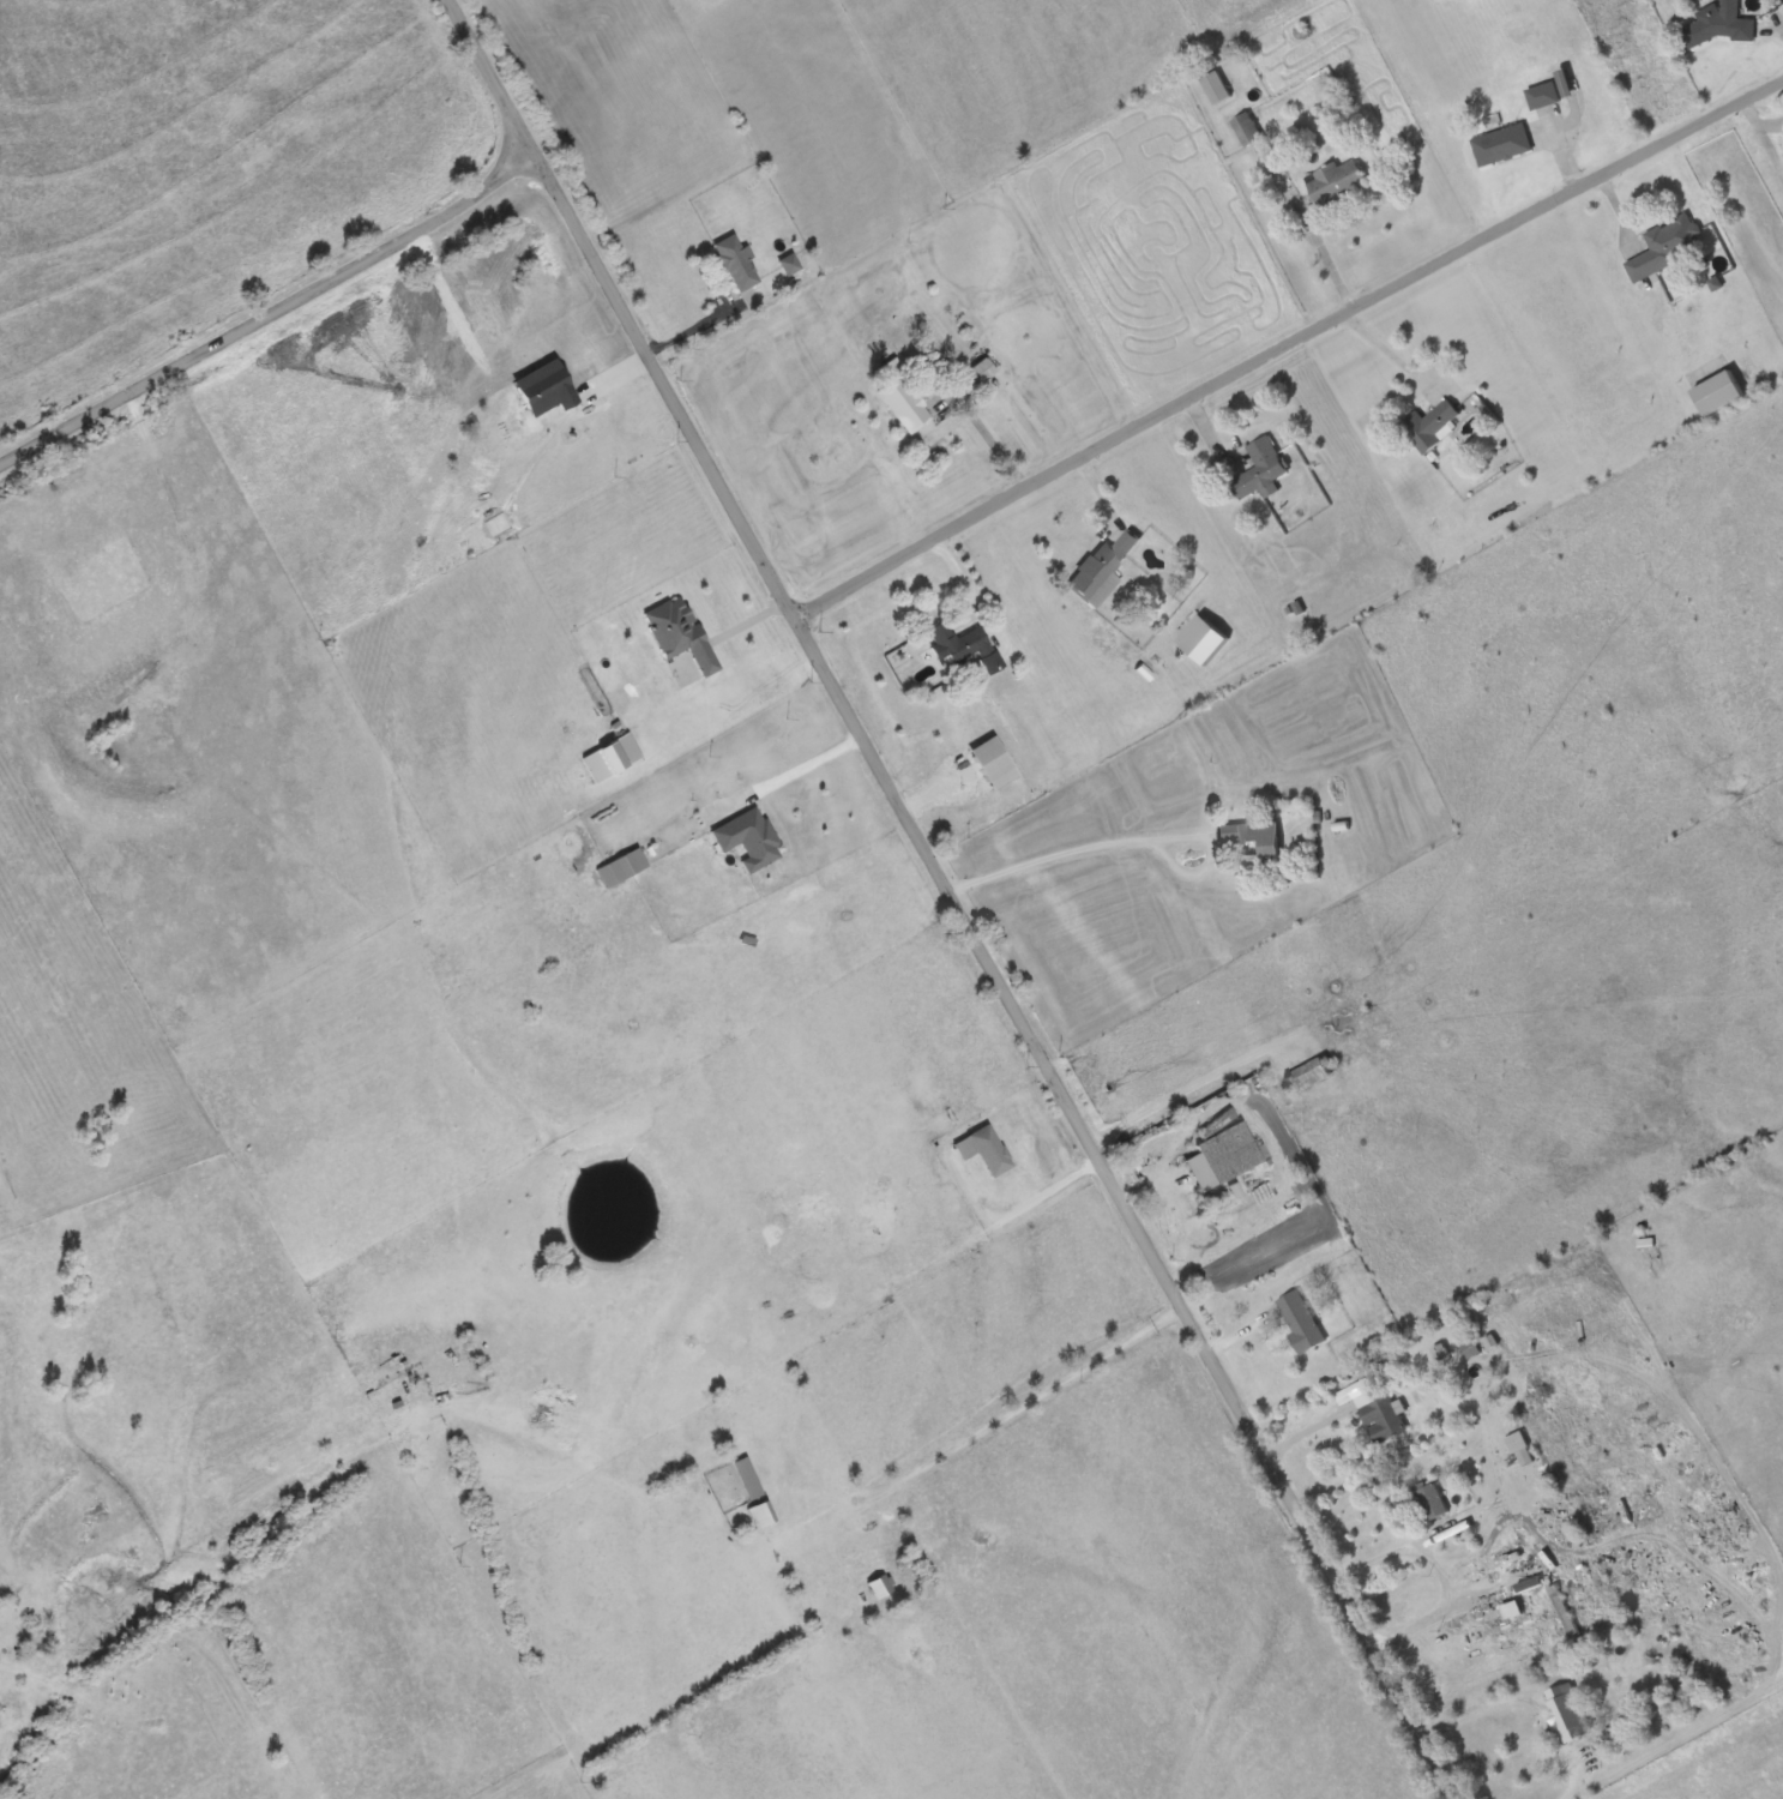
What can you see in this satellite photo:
building: (1717, 23)
building: (1216, 89)
building: (1543, 96)
building: (1247, 131)
building: (1502, 146)
building: (1336, 182)
building: (1668, 247)
building: (736, 264)
building: (791, 264)
road: (273, 317)
road: (1285, 345)
building: (983, 371)
building: (1713, 385)
building: (904, 405)
building: (1432, 426)
road: (990, 446)
building: (1261, 471)
building: (1101, 571)
building: (679, 634)
building: (960, 644)
building: (748, 838)
building: (1252, 846)
building: (626, 864)
road: (950, 899)
building: (1308, 1076)
building: (984, 1149)
building: (1223, 1156)
building: (1301, 1322)
building: (1470, 1349)
building: (1379, 1415)
building: (1522, 1449)
building: (748, 1479)
building: (1430, 1500)
building: (761, 1515)
building: (880, 1586)
building: (1564, 1612)
building: (1568, 1713)
building: (1615, 1737)

